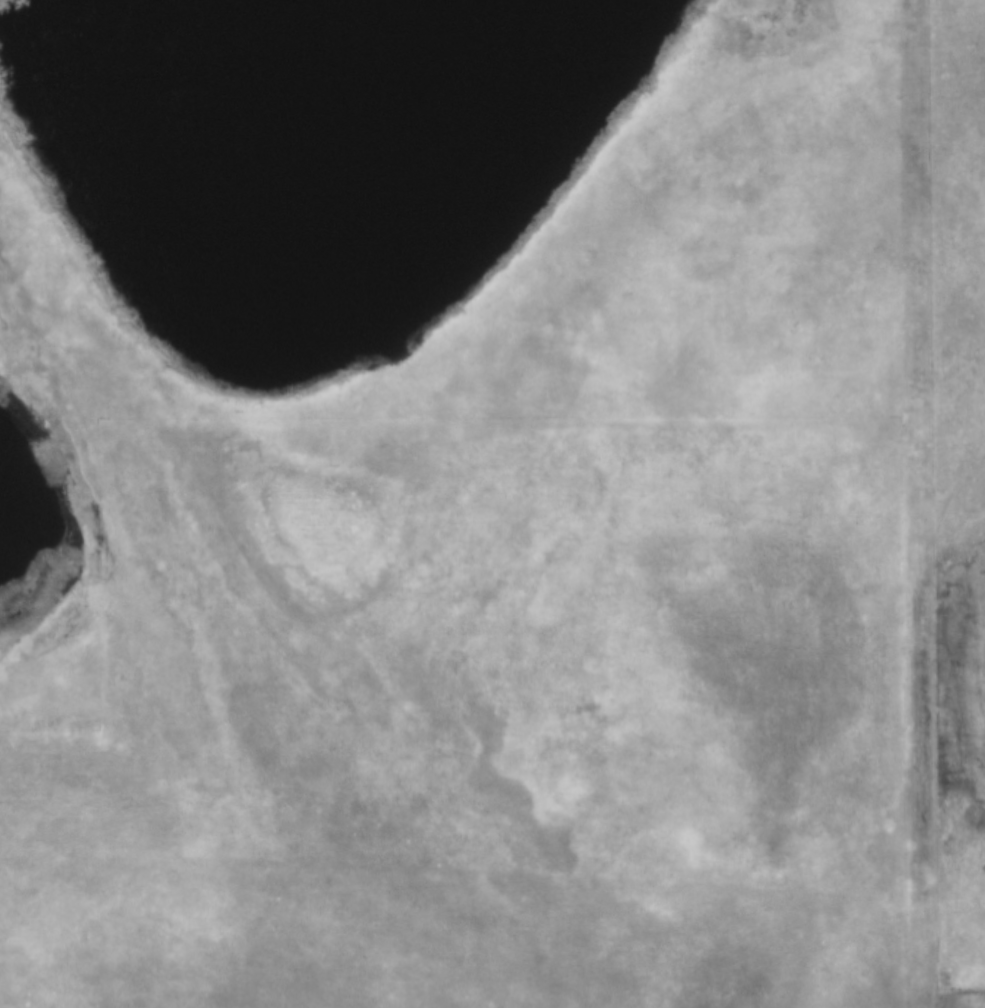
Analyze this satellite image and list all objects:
road: (920, 503)

